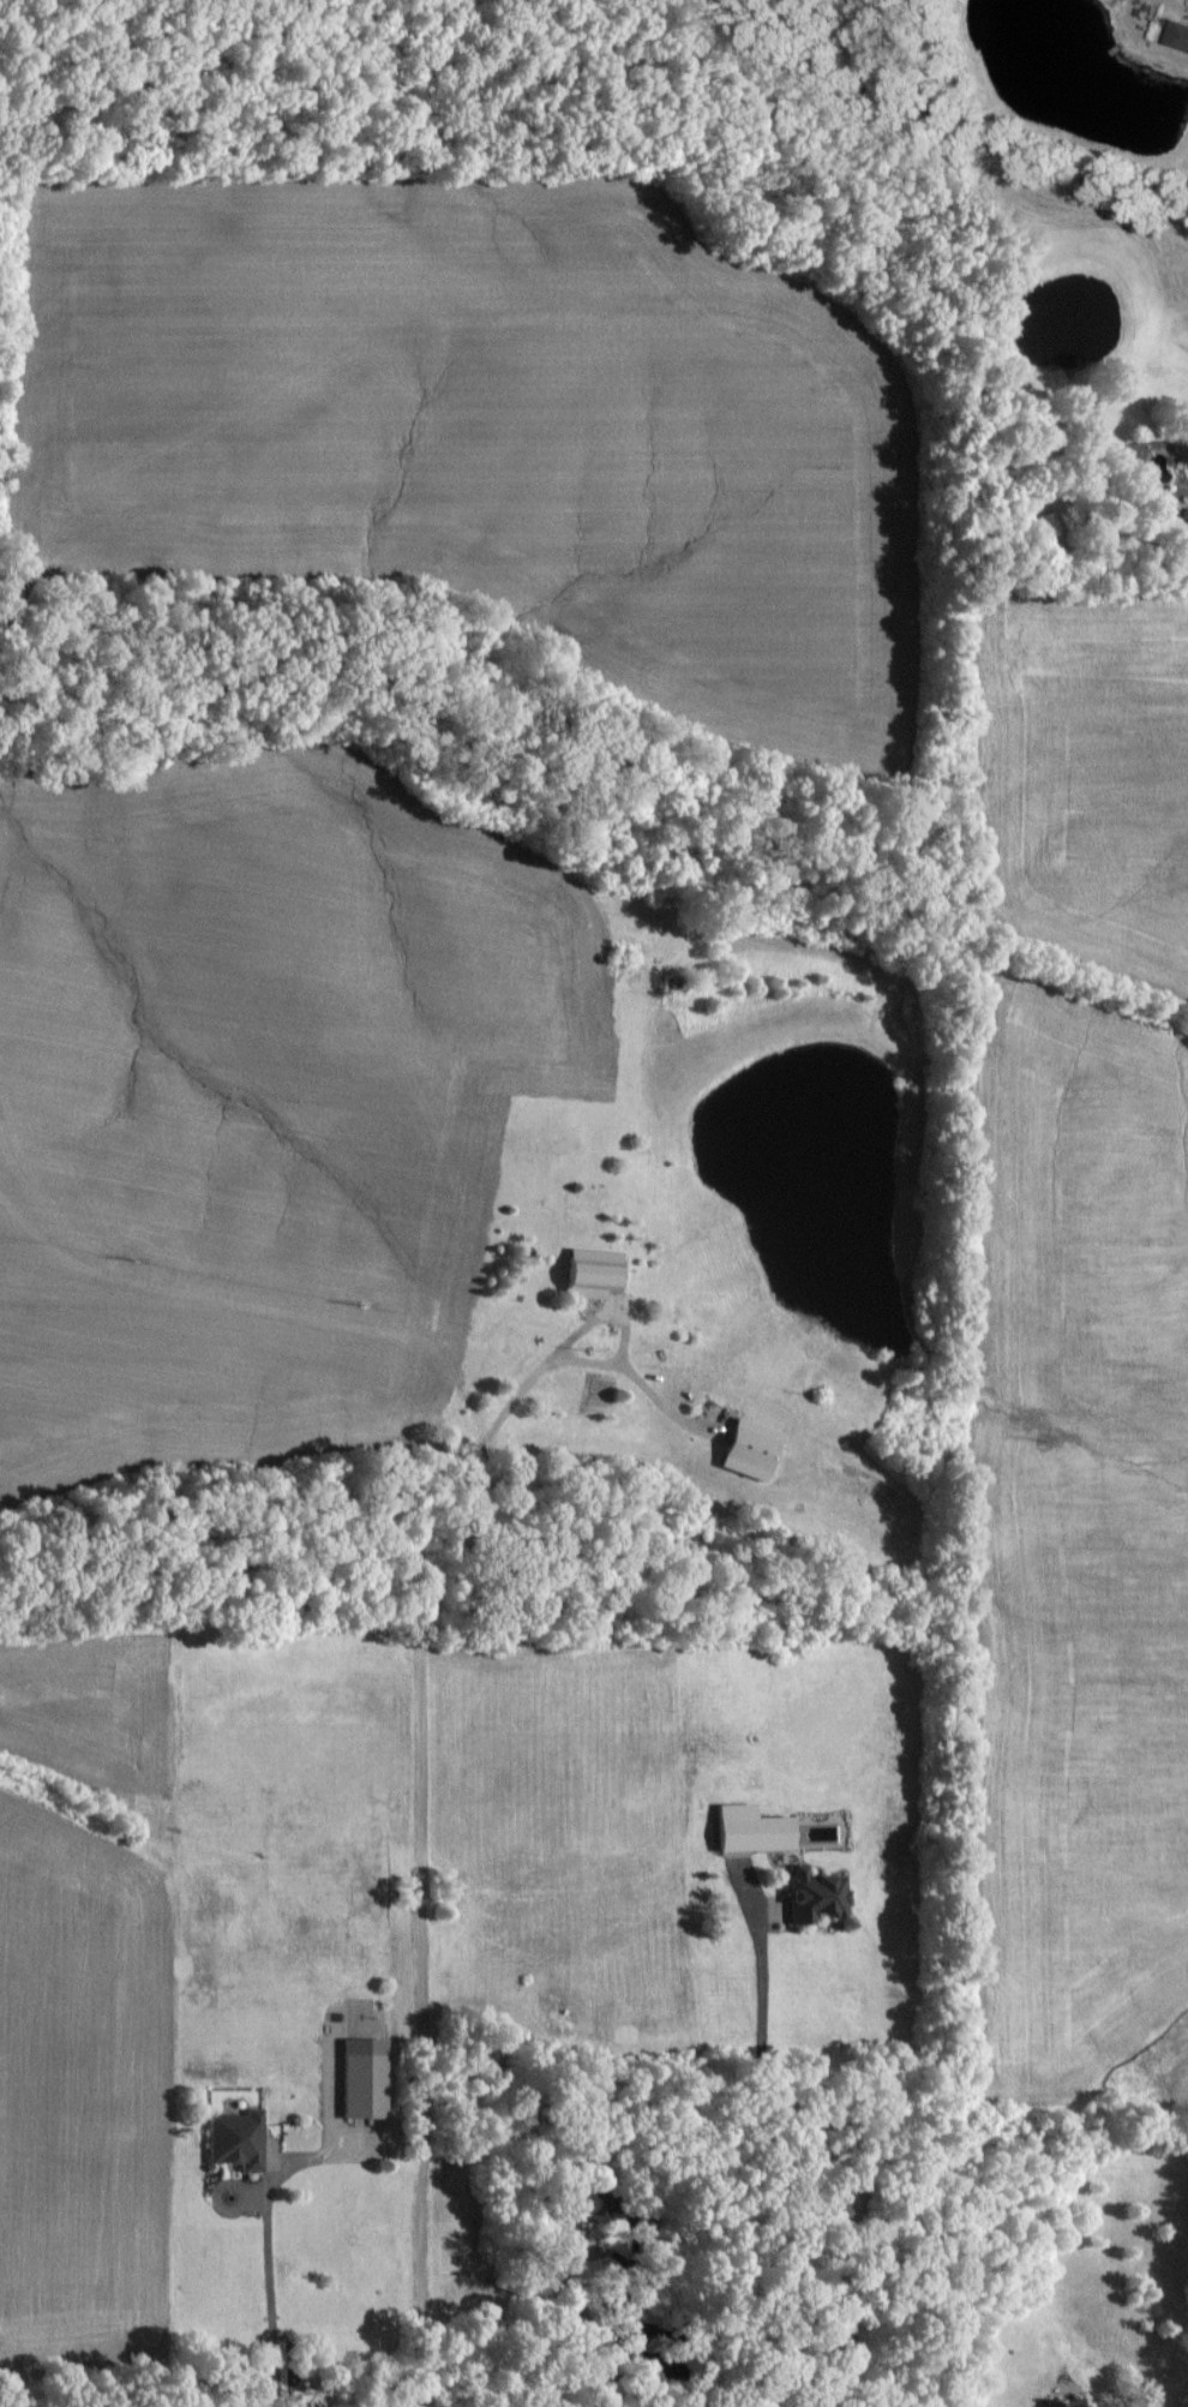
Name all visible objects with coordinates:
building: (1177, 35)
building: (1039, 526)
building: (590, 1280)
road: (619, 1330)
road: (662, 1403)
building: (748, 1448)
building: (750, 1828)
road: (419, 1858)
building: (816, 1894)
building: (365, 2077)
building: (235, 2139)
road: (814, 2150)
building: (583, 2208)
road: (611, 2255)
road: (266, 2297)
road: (589, 2359)
building: (1066, 2402)

